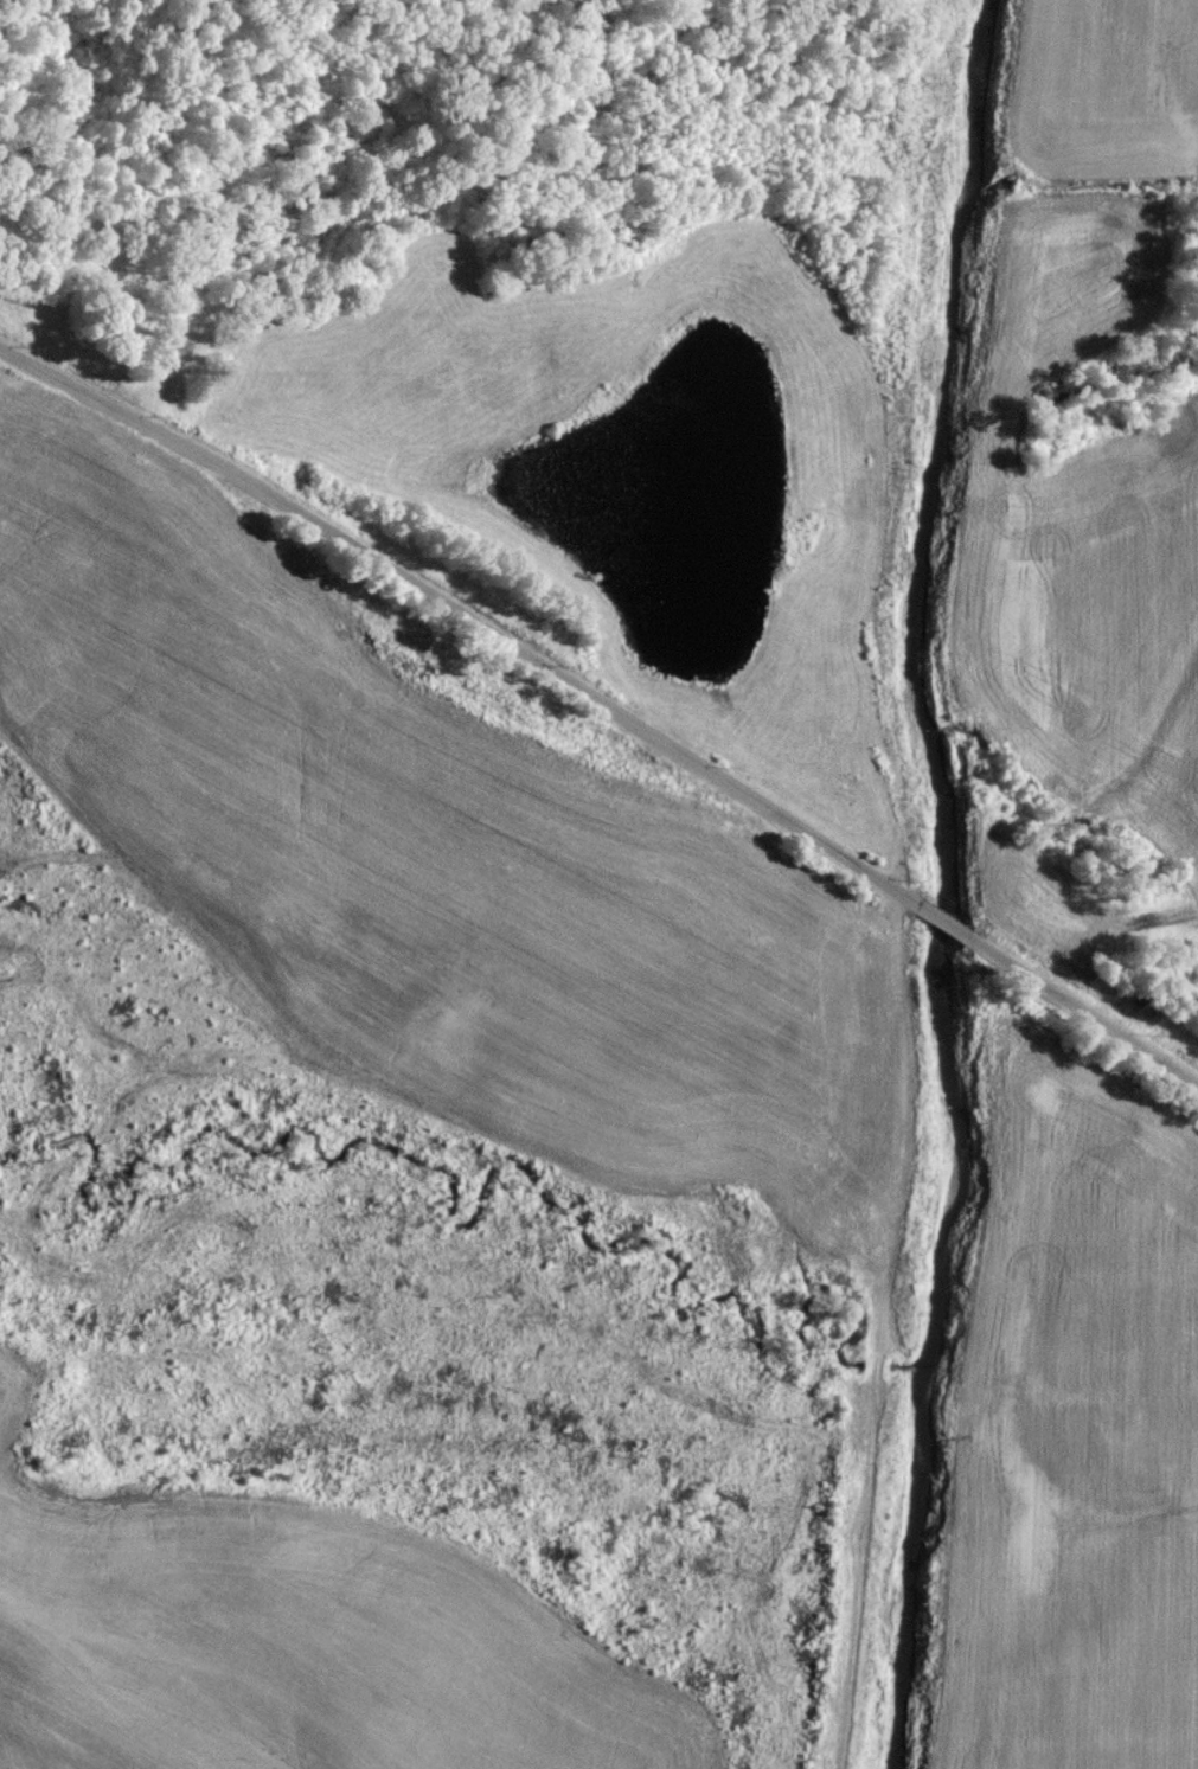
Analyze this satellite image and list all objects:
road: (462, 620)
road: (789, 789)
road: (941, 927)
road: (1082, 1017)

